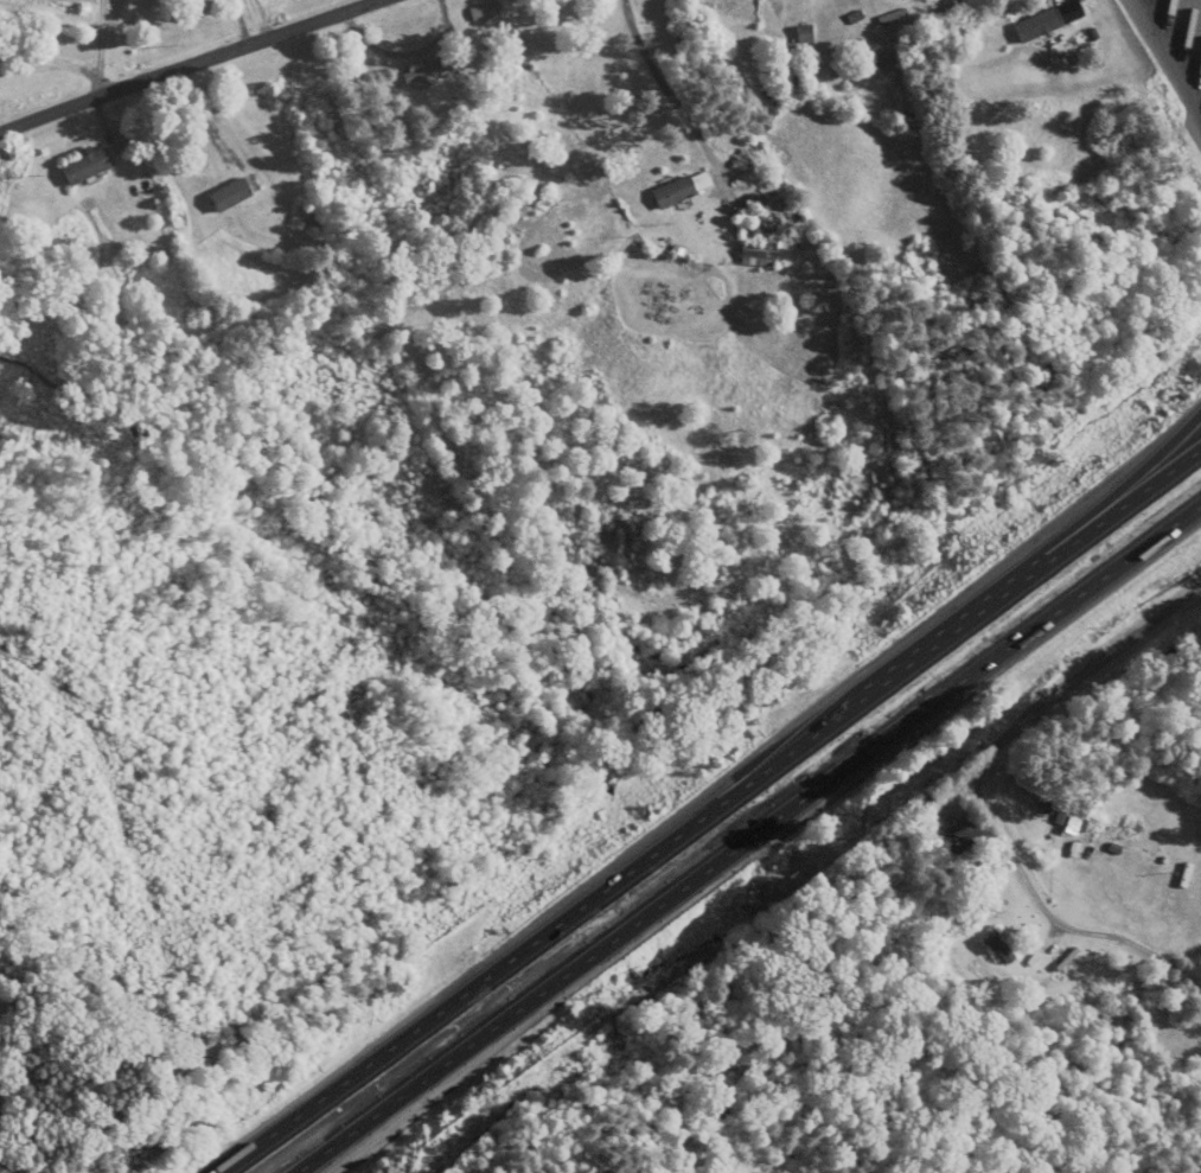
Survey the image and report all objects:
building: (479, 13)
road: (263, 21)
building: (1039, 25)
parking lot: (1173, 46)
road: (1163, 65)
road: (196, 66)
building: (428, 70)
building: (793, 79)
road: (669, 91)
building: (89, 166)
building: (683, 189)
building: (231, 195)
building: (315, 223)
building: (759, 251)
road: (1042, 536)
road: (1092, 667)
road: (708, 804)
road: (746, 833)
road: (1043, 909)
building: (998, 950)

